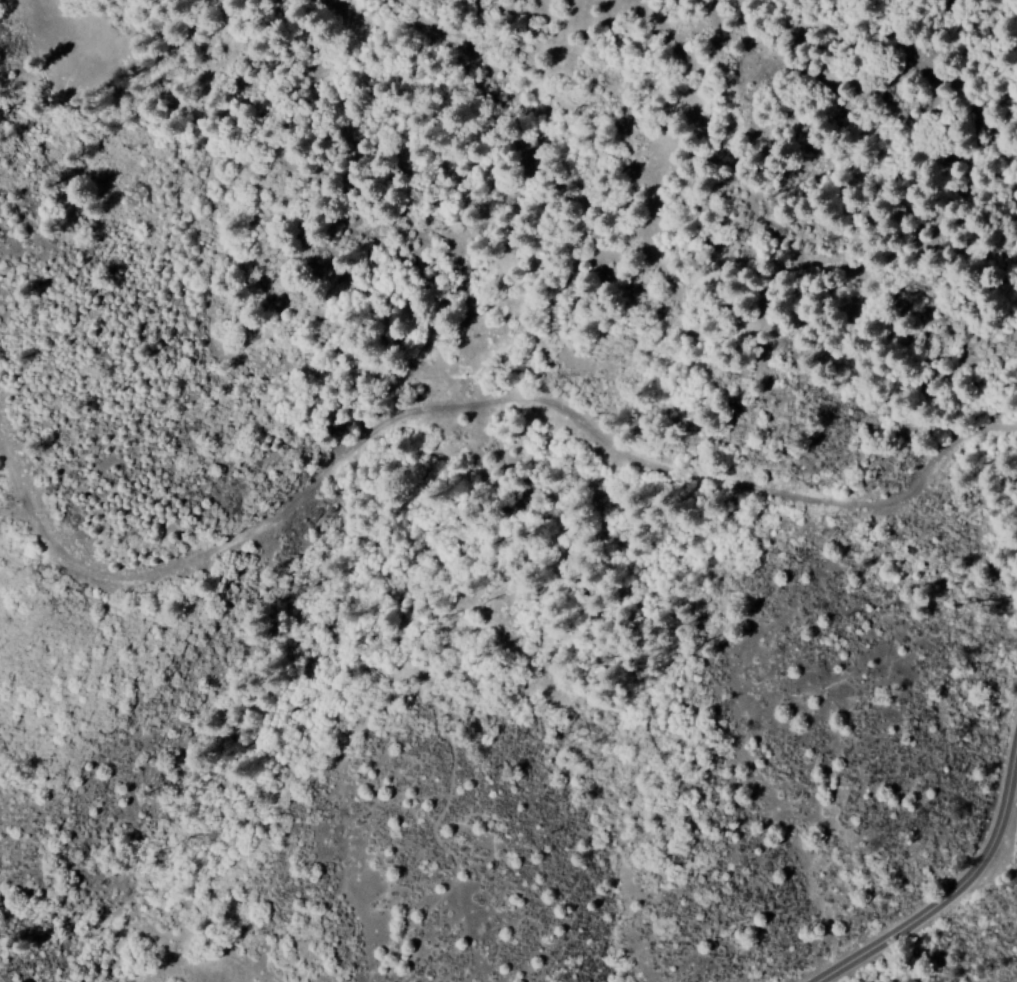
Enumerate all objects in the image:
road: (954, 888)

